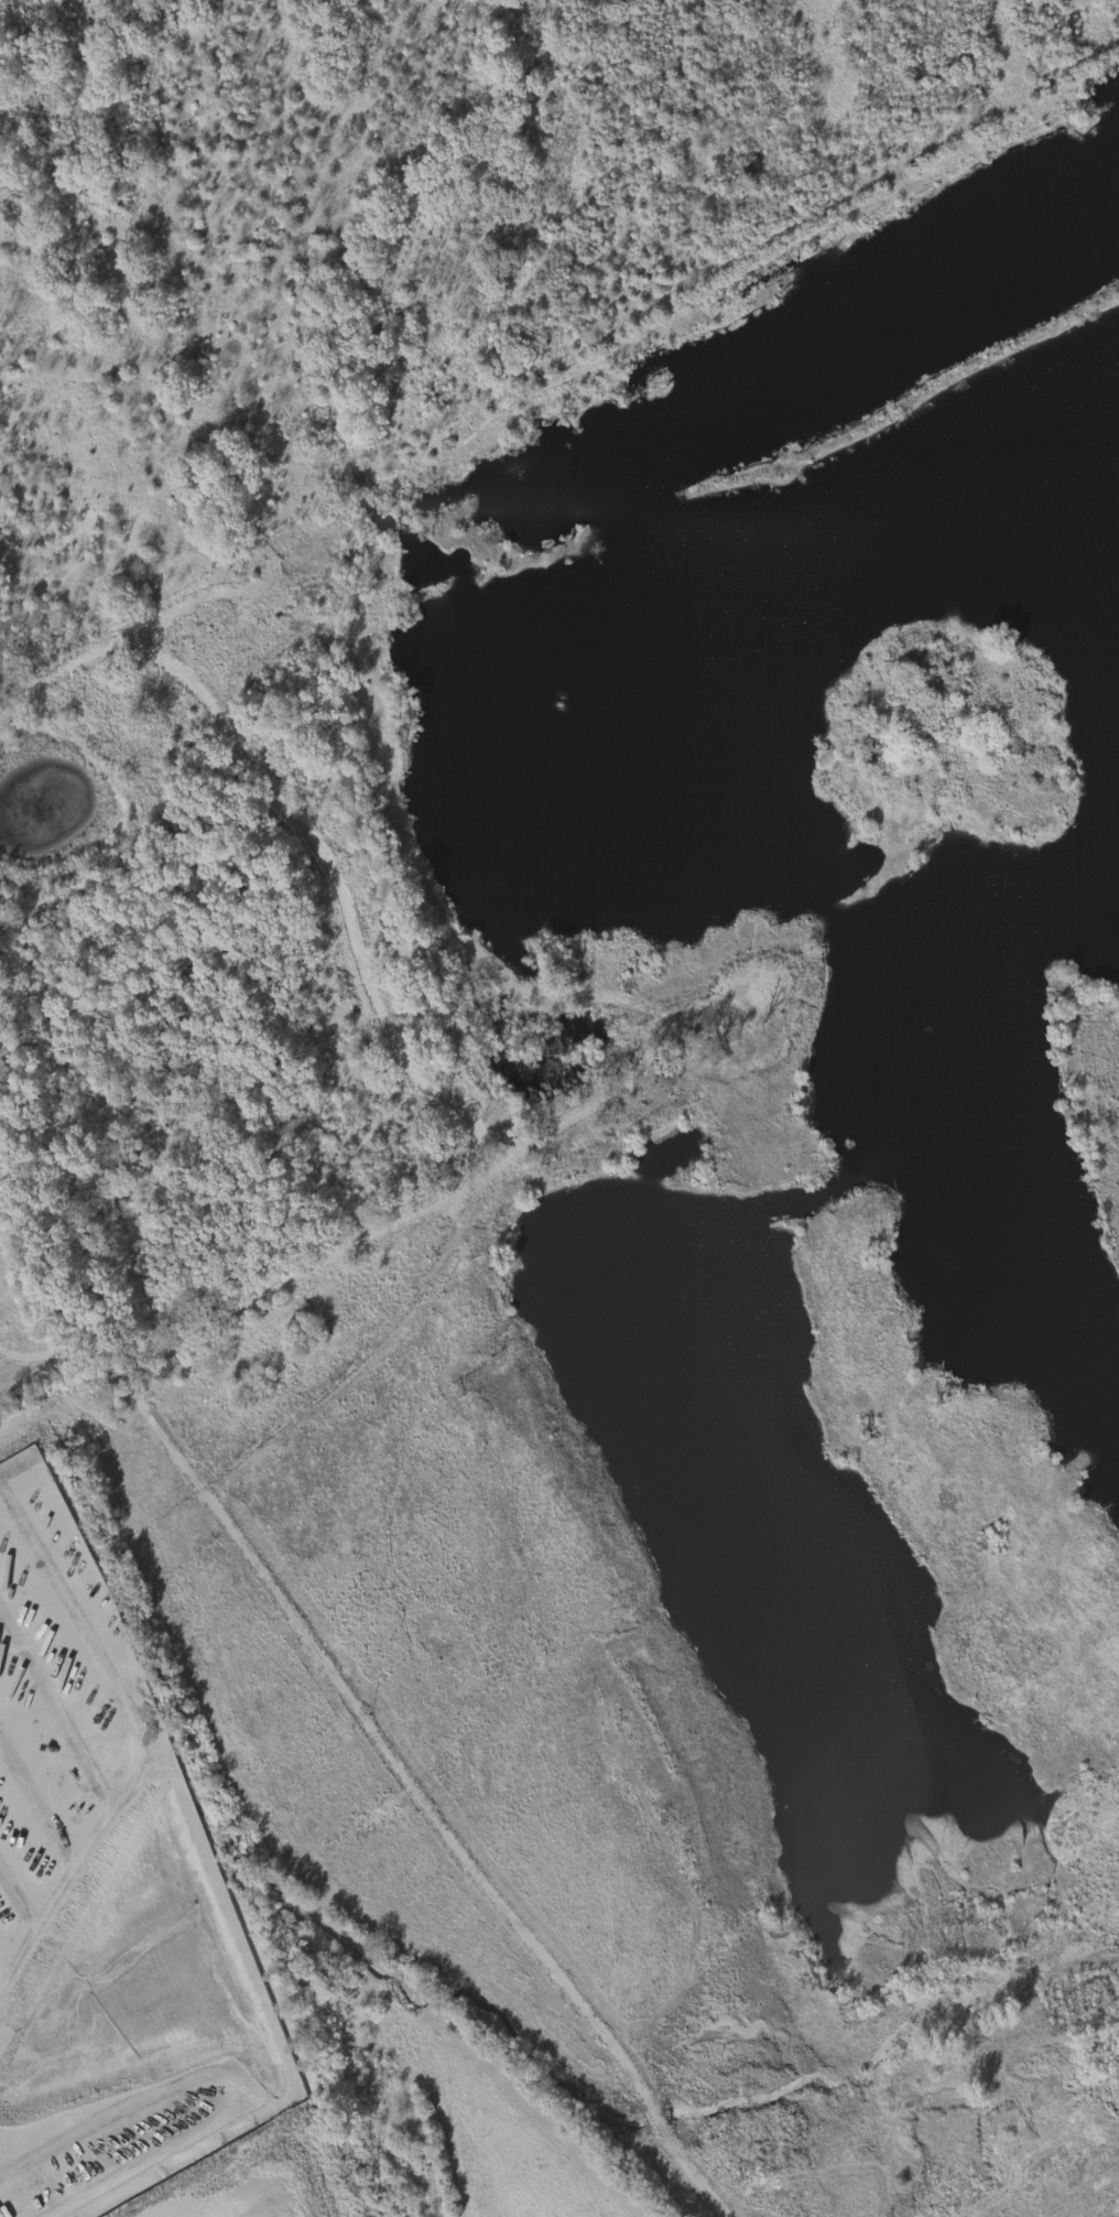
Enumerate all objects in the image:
road: (558, 1132)
road: (139, 1739)

